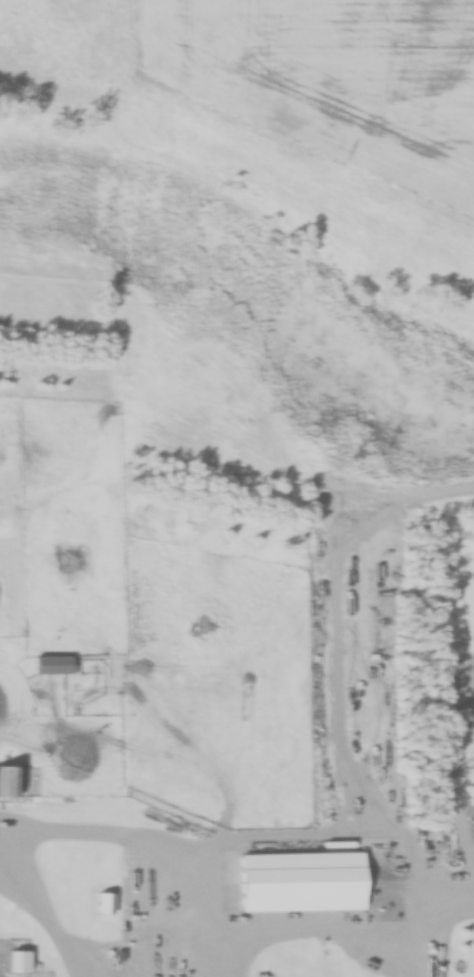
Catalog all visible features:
building: (57, 670)
building: (8, 782)
building: (306, 886)
building: (106, 903)
building: (19, 961)

